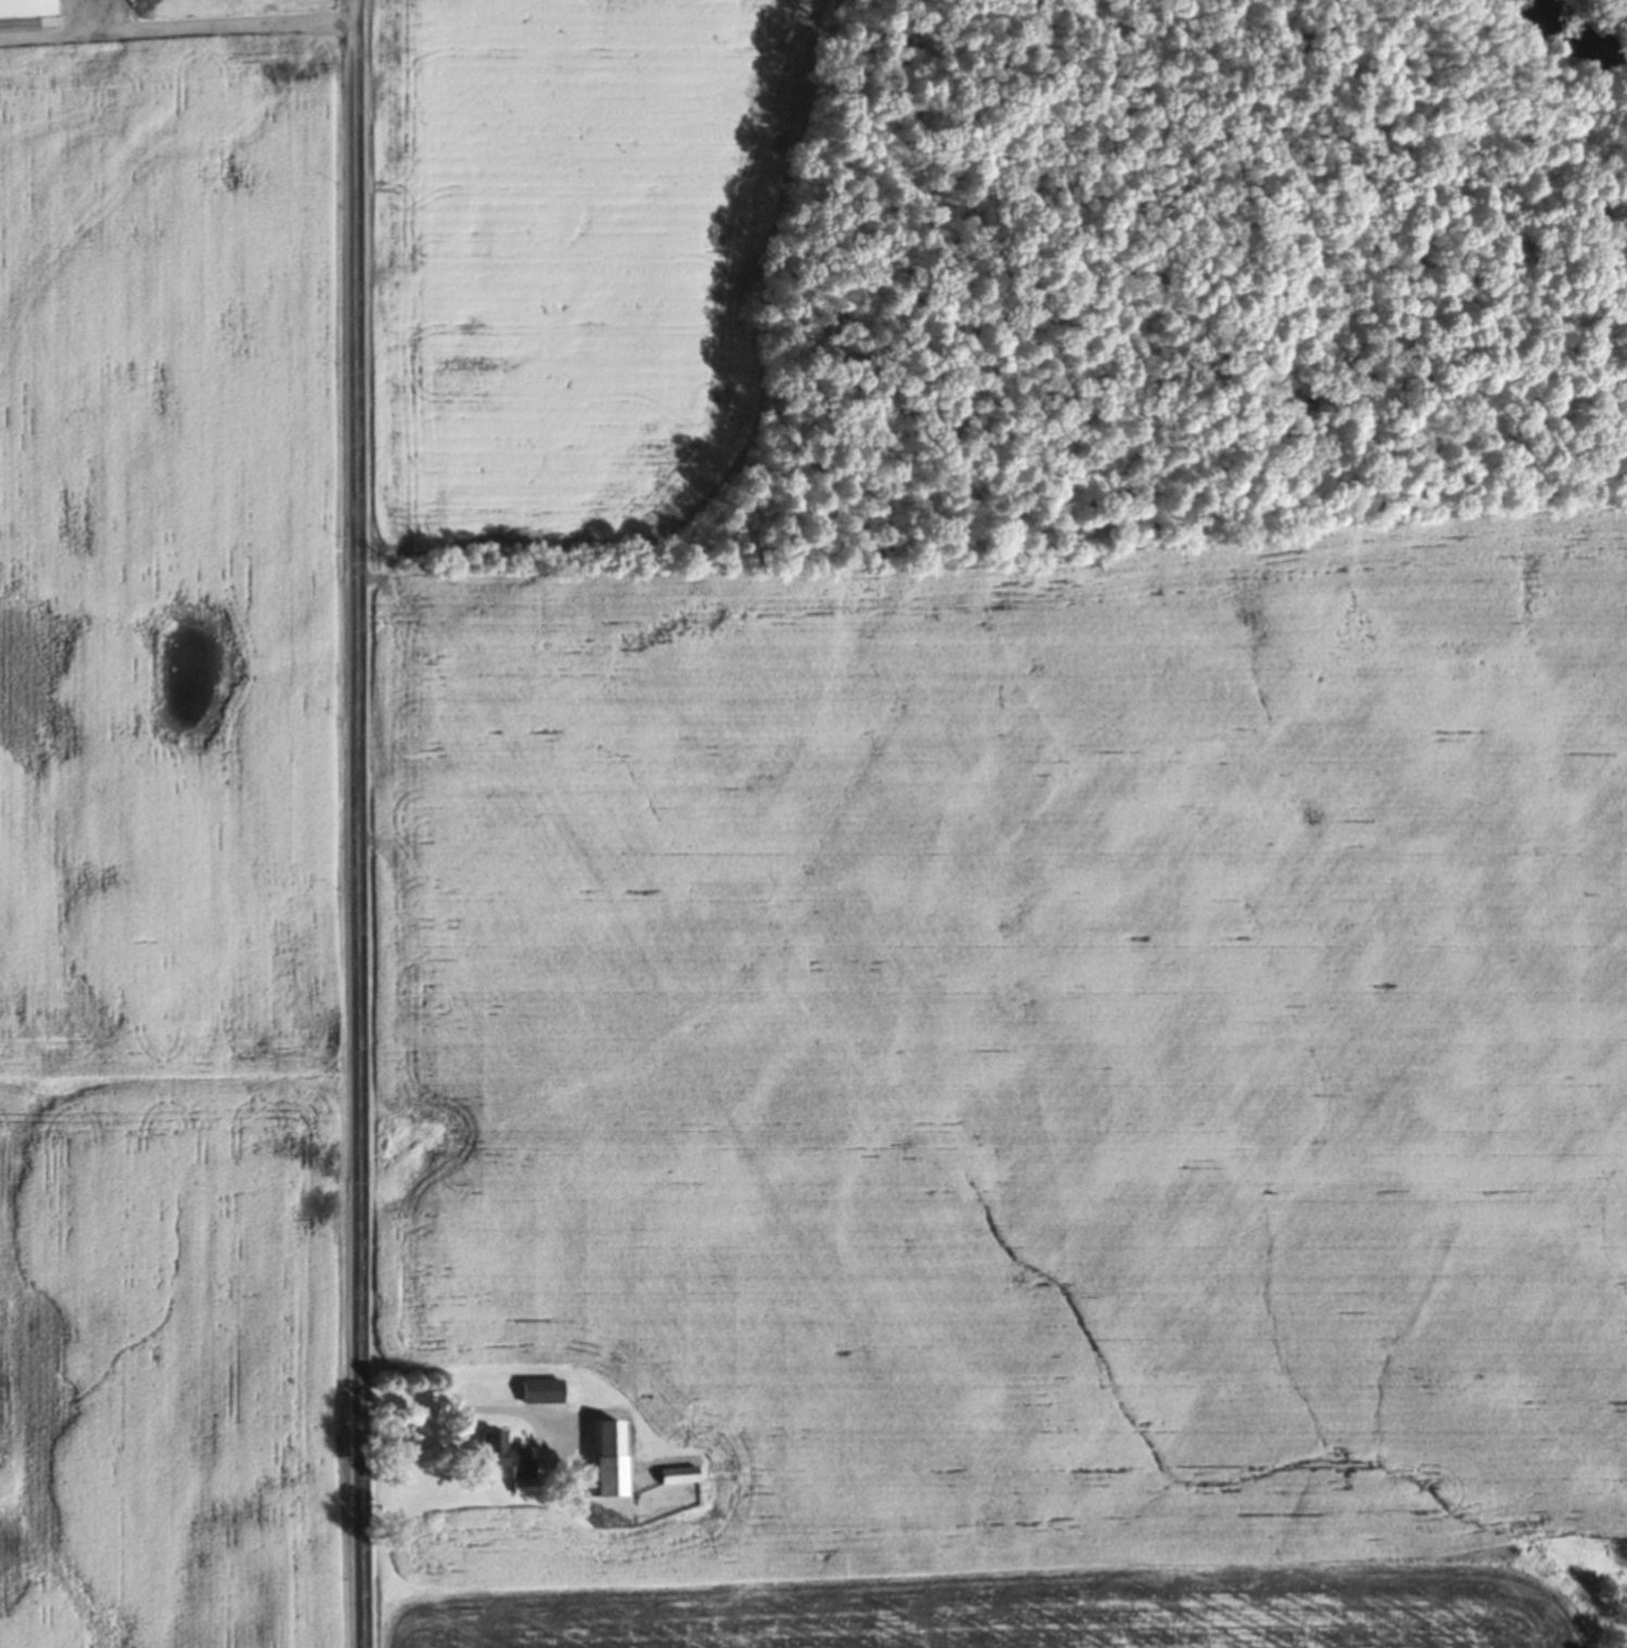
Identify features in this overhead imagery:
building: (26, 9)
road: (216, 24)
road: (51, 34)
river: (1557, 51)
road: (360, 823)
building: (542, 1390)
building: (611, 1458)
building: (507, 1460)
building: (679, 1474)

